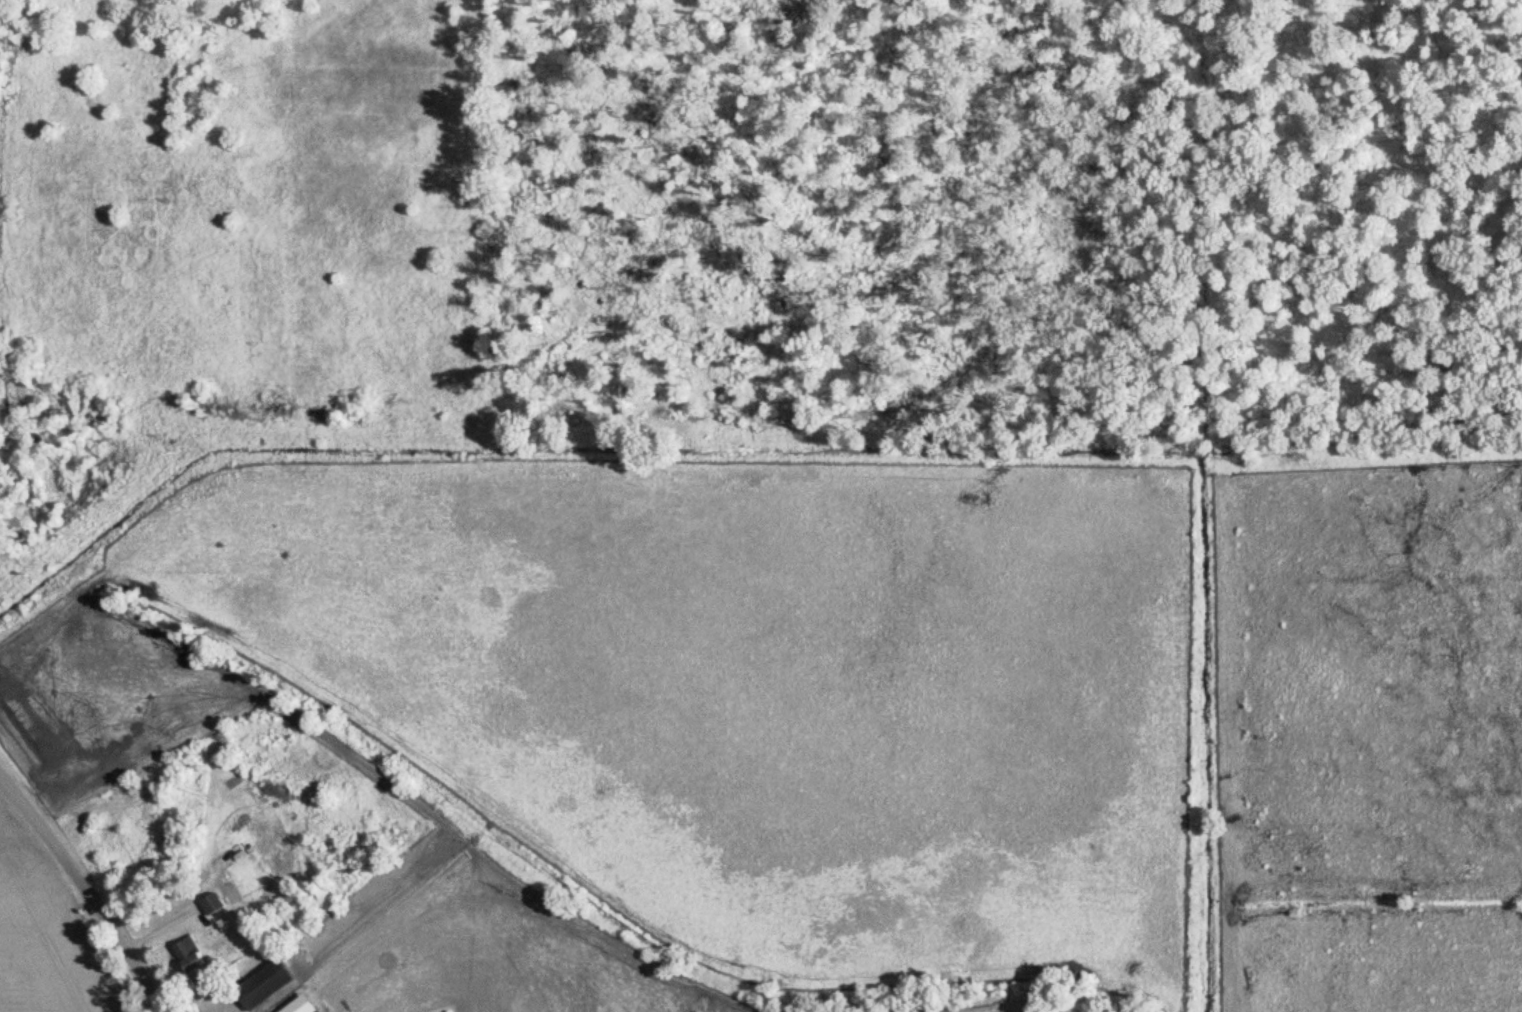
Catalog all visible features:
building: (250, 878)
road: (84, 893)
building: (214, 905)
building: (192, 955)
building: (269, 985)

